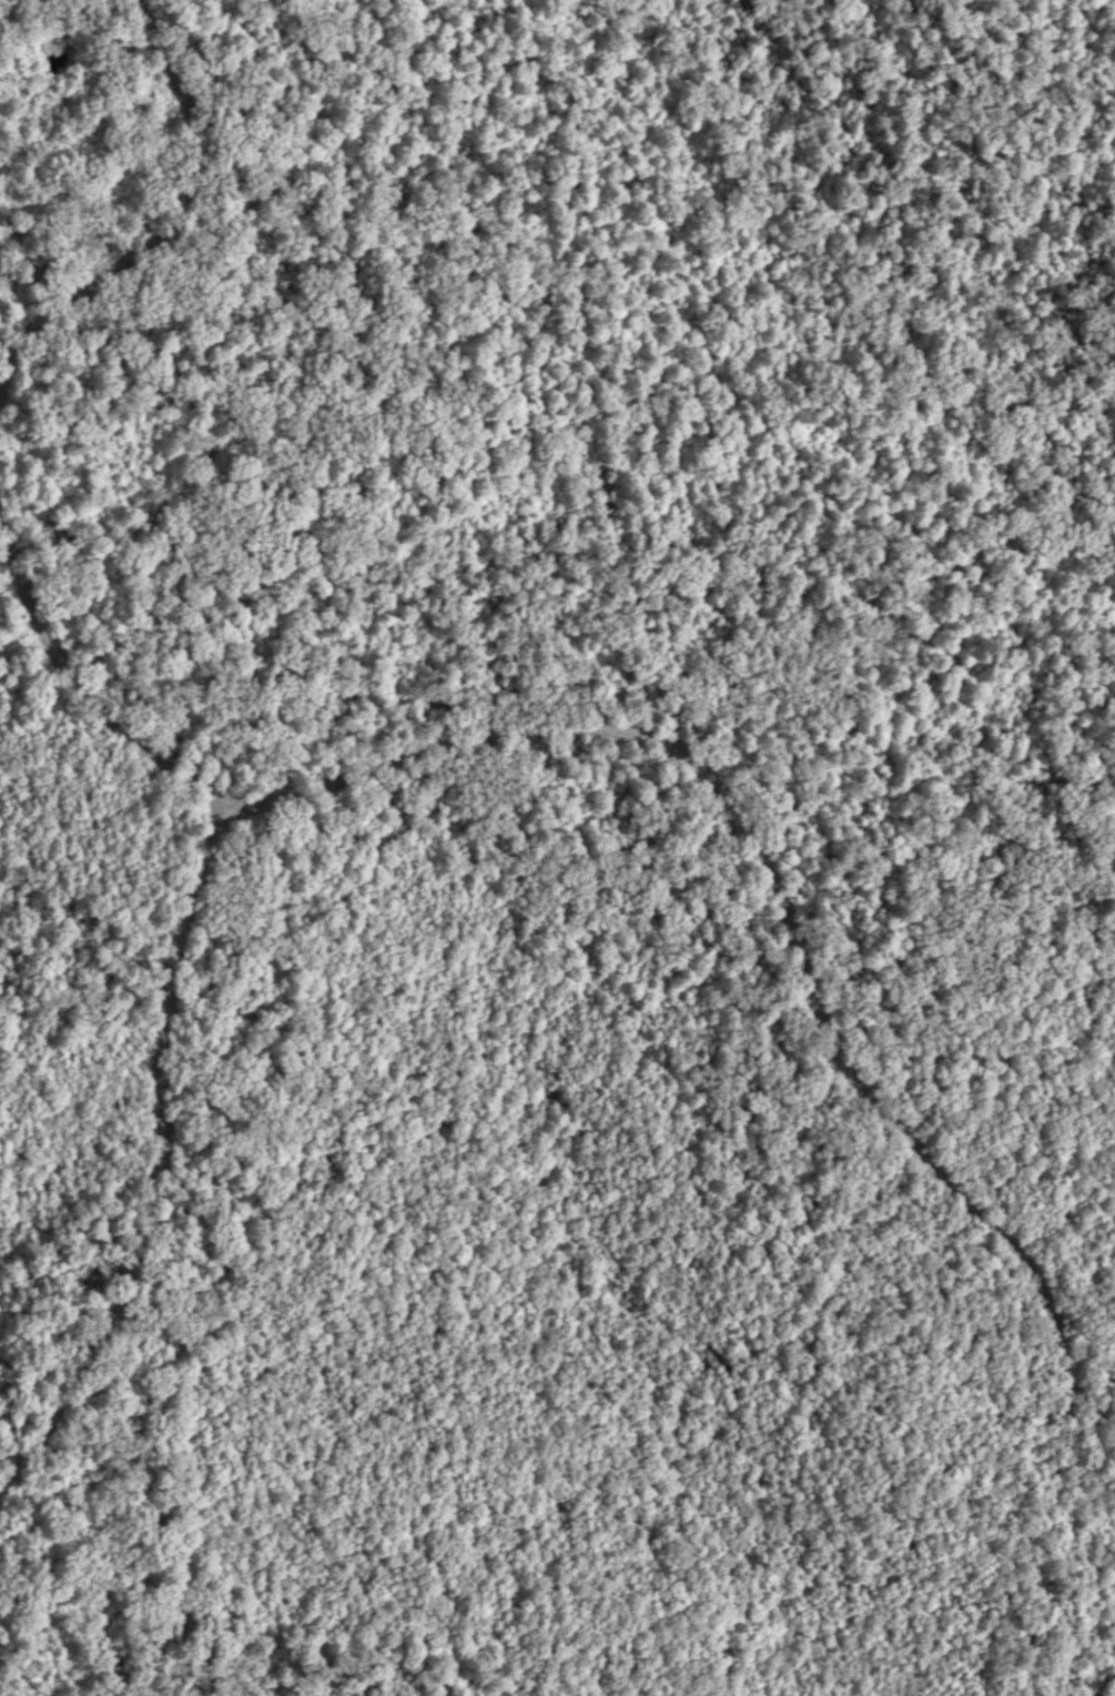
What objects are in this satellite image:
road: (171, 226)
road: (667, 745)
road: (156, 1158)

